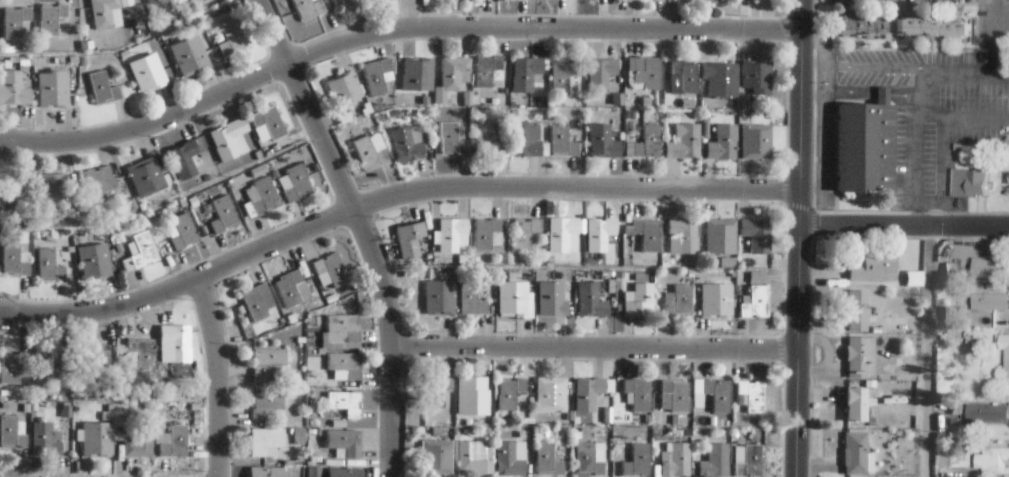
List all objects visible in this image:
building: (196, 0)
building: (342, 2)
building: (158, 5)
building: (309, 7)
building: (102, 12)
building: (50, 18)
building: (14, 20)
building: (859, 25)
building: (932, 29)
road: (391, 30)
building: (231, 36)
building: (188, 56)
building: (486, 69)
building: (646, 71)
building: (455, 72)
building: (525, 72)
building: (417, 73)
building: (601, 73)
building: (147, 74)
building: (375, 74)
building: (687, 75)
building: (563, 76)
building: (757, 76)
building: (721, 78)
building: (52, 87)
building: (102, 87)
building: (13, 88)
building: (344, 88)
road: (801, 112)
building: (269, 121)
building: (525, 138)
building: (451, 139)
building: (486, 139)
building: (603, 139)
building: (228, 140)
building: (563, 141)
building: (649, 141)
building: (757, 141)
building: (685, 142)
building: (724, 142)
building: (408, 143)
building: (864, 147)
building: (370, 153)
building: (183, 158)
building: (146, 177)
building: (297, 181)
building: (98, 182)
building: (968, 183)
building: (48, 188)
building: (12, 193)
building: (265, 196)
road: (389, 196)
building: (223, 213)
road: (904, 226)
road: (363, 228)
building: (183, 231)
building: (486, 232)
building: (451, 233)
building: (524, 233)
building: (600, 233)
building: (564, 234)
building: (648, 234)
building: (757, 234)
building: (721, 235)
building: (681, 238)
building: (409, 239)
building: (143, 249)
building: (14, 260)
building: (93, 261)
building: (48, 266)
building: (875, 266)
building: (331, 268)
building: (990, 269)
building: (913, 280)
building: (289, 288)
building: (440, 297)
building: (469, 297)
building: (516, 299)
building: (550, 300)
building: (590, 300)
building: (641, 301)
building: (989, 301)
building: (258, 302)
building: (680, 302)
building: (719, 302)
building: (755, 302)
building: (858, 310)
building: (345, 325)
building: (176, 341)
road: (595, 346)
road: (797, 351)
road: (927, 351)
building: (142, 353)
building: (861, 357)
building: (87, 359)
building: (1006, 359)
building: (269, 361)
building: (45, 362)
building: (347, 364)
building: (11, 366)
road: (216, 375)
building: (436, 392)
building: (469, 392)
building: (510, 392)
building: (588, 393)
building: (639, 393)
building: (551, 394)
building: (678, 394)
building: (753, 394)
building: (719, 395)
building: (268, 400)
building: (856, 403)
building: (344, 407)
building: (957, 410)
building: (987, 414)
building: (985, 425)
building: (1003, 426)
building: (11, 433)
building: (95, 438)
building: (44, 439)
building: (265, 440)
building: (139, 441)
building: (174, 442)
building: (345, 442)
building: (857, 453)
building: (437, 457)
building: (470, 457)
building: (993, 458)
building: (590, 459)
building: (508, 460)
building: (548, 460)
building: (676, 460)
building: (638, 461)
building: (716, 461)
building: (750, 462)
building: (342, 472)
building: (264, 473)

